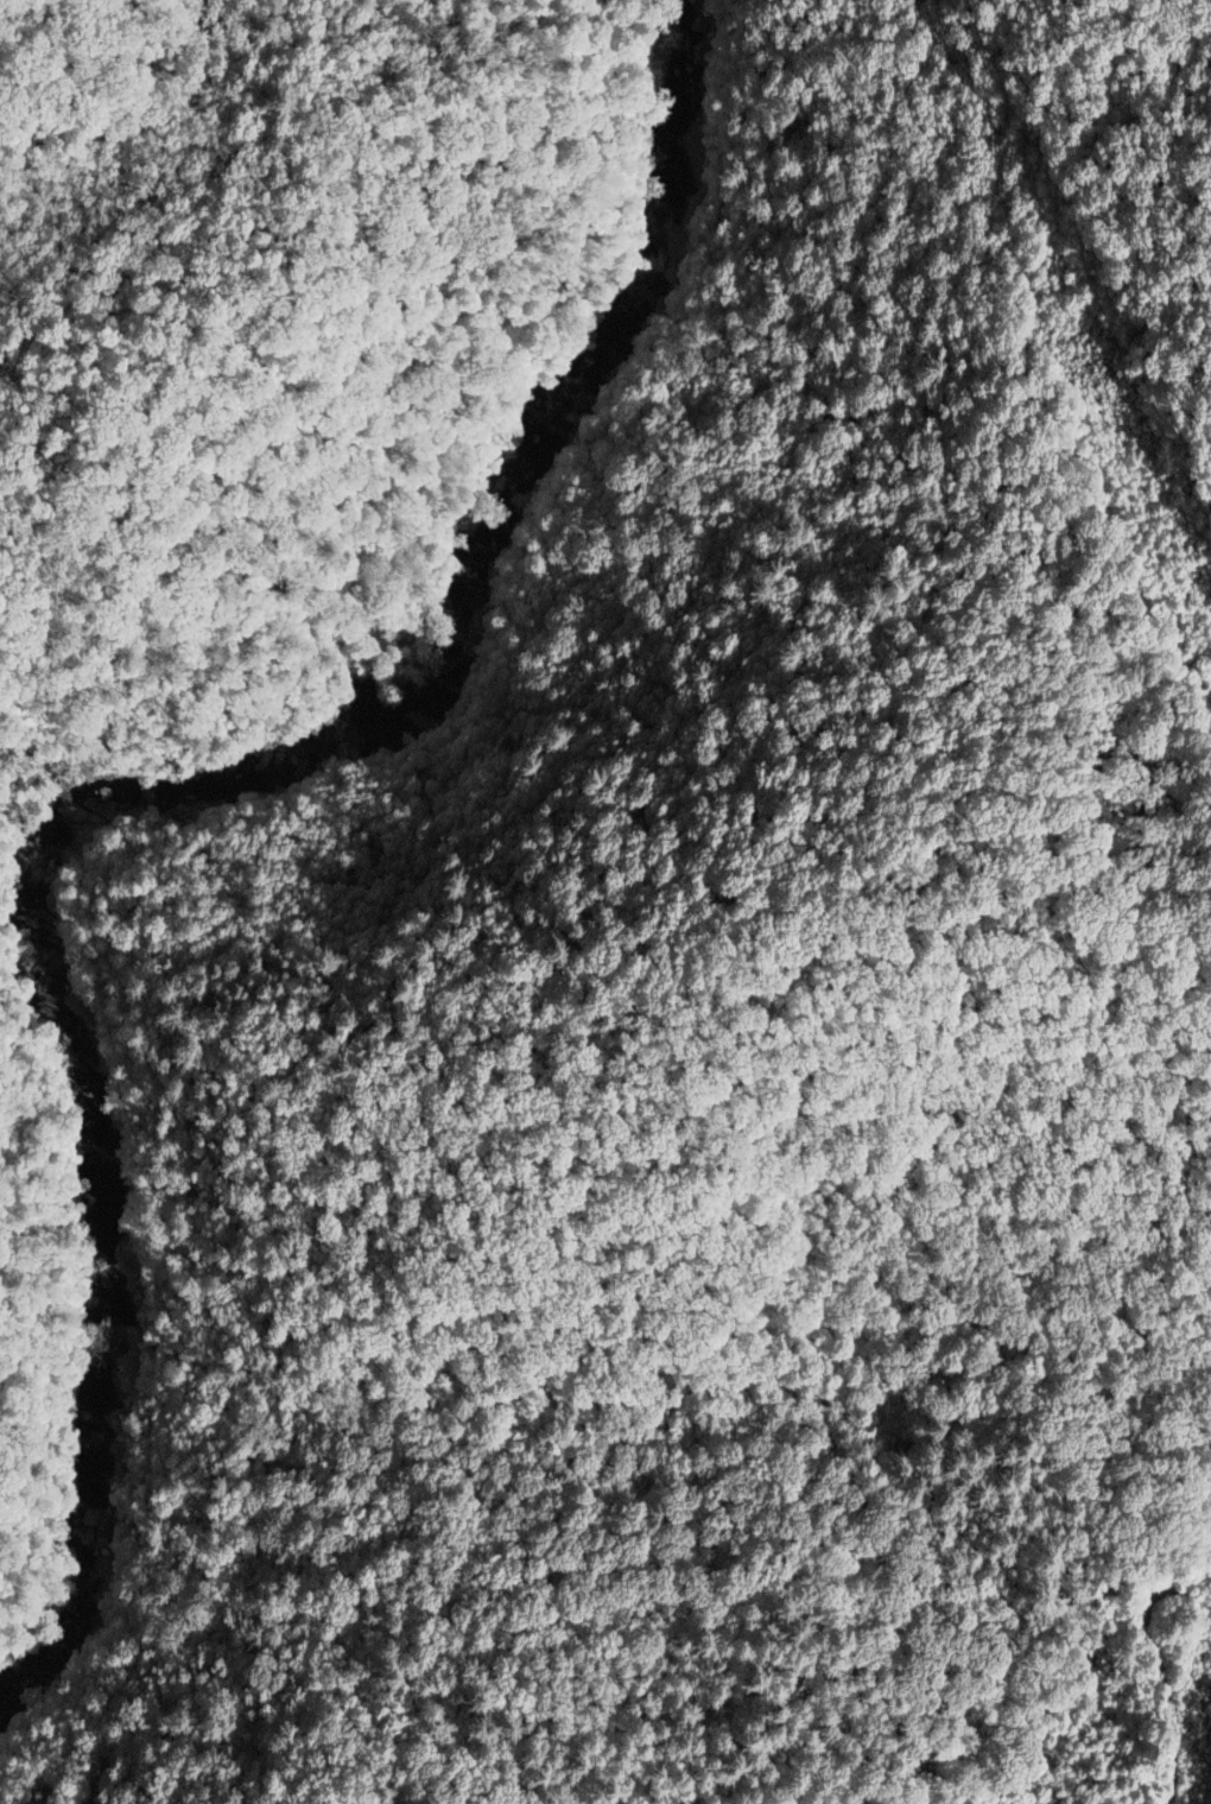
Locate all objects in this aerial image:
power tower: (1091, 371)
river: (446, 652)
river: (101, 1203)
river: (93, 1527)

